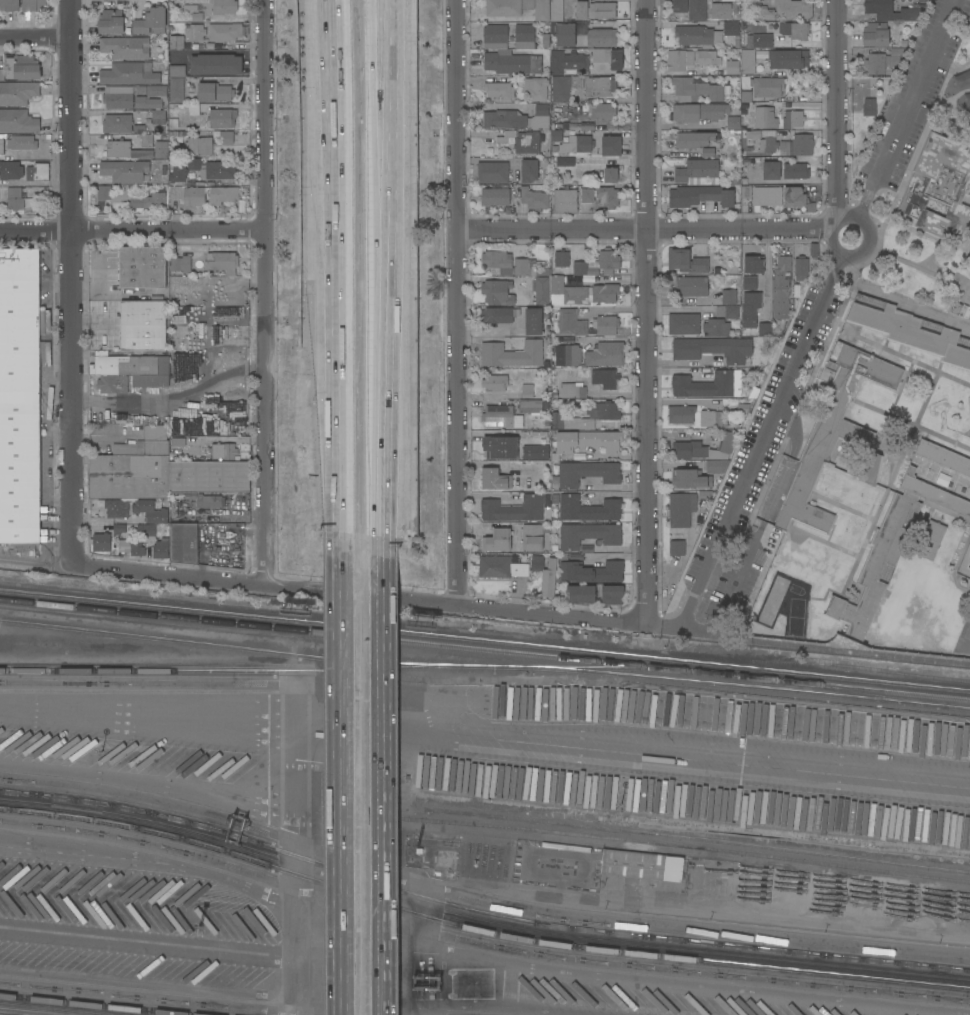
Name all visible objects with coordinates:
building: (528, 4)
building: (9, 5)
building: (32, 5)
building: (223, 6)
building: (503, 8)
building: (593, 9)
building: (689, 9)
building: (794, 9)
building: (542, 10)
building: (720, 10)
building: (891, 10)
building: (763, 13)
building: (196, 17)
building: (111, 21)
building: (151, 21)
building: (562, 24)
building: (731, 28)
building: (796, 30)
building: (194, 31)
building: (226, 31)
building: (524, 32)
building: (495, 33)
building: (875, 34)
building: (694, 35)
road: (35, 37)
building: (601, 37)
building: (767, 39)
building: (176, 41)
building: (124, 46)
building: (609, 57)
building: (707, 57)
building: (788, 58)
building: (679, 59)
building: (893, 59)
building: (566, 61)
building: (747, 61)
building: (512, 63)
building: (875, 63)
building: (216, 64)
building: (26, 67)
building: (732, 67)
building: (177, 70)
building: (128, 74)
building: (960, 79)
building: (767, 86)
building: (536, 88)
building: (176, 89)
building: (600, 89)
building: (500, 90)
building: (695, 90)
building: (18, 92)
building: (214, 92)
building: (129, 94)
building: (745, 97)
building: (966, 100)
building: (147, 102)
road: (332, 105)
road: (342, 105)
building: (869, 106)
road: (378, 107)
road: (382, 108)
road: (907, 109)
building: (602, 111)
building: (699, 111)
road: (837, 113)
building: (154, 115)
building: (222, 117)
building: (765, 117)
building: (517, 118)
building: (793, 118)
building: (18, 121)
building: (733, 122)
building: (117, 123)
building: (555, 133)
building: (226, 137)
building: (694, 139)
building: (146, 141)
building: (767, 141)
building: (22, 142)
building: (527, 142)
building: (576, 144)
building: (797, 145)
building: (2, 146)
building: (198, 146)
building: (611, 146)
building: (161, 149)
building: (124, 150)
building: (711, 152)
building: (565, 161)
building: (756, 163)
building: (211, 169)
building: (10, 170)
building: (124, 170)
building: (529, 170)
building: (771, 170)
building: (795, 171)
building: (38, 172)
building: (178, 172)
building: (492, 172)
building: (698, 172)
building: (611, 174)
park: (916, 176)
building: (939, 185)
building: (104, 192)
building: (746, 192)
building: (222, 194)
building: (188, 195)
building: (587, 195)
building: (701, 195)
building: (767, 195)
building: (495, 196)
building: (608, 196)
building: (15, 198)
building: (534, 198)
building: (797, 198)
building: (149, 200)
building: (565, 200)
road: (646, 229)
road: (132, 231)
road: (861, 255)
building: (561, 258)
building: (222, 261)
building: (686, 261)
building: (180, 263)
building: (509, 263)
building: (598, 264)
building: (751, 264)
building: (142, 267)
building: (802, 267)
road: (73, 281)
building: (691, 286)
building: (781, 287)
building: (540, 289)
building: (497, 291)
road: (265, 292)
building: (581, 292)
building: (729, 296)
road: (457, 303)
building: (960, 309)
building: (728, 311)
road: (648, 312)
building: (498, 314)
building: (749, 317)
building: (533, 321)
building: (571, 322)
building: (683, 323)
building: (143, 324)
building: (605, 324)
building: (716, 327)
building: (764, 329)
building: (911, 332)
building: (714, 349)
building: (512, 353)
building: (567, 354)
building: (606, 354)
building: (130, 365)
building: (605, 377)
building: (150, 380)
road: (340, 381)
building: (495, 382)
building: (113, 384)
building: (708, 384)
road: (380, 385)
building: (527, 390)
building: (572, 390)
building: (19, 395)
road: (121, 401)
building: (530, 406)
building: (681, 414)
building: (605, 415)
building: (500, 416)
building: (710, 418)
building: (832, 432)
building: (535, 435)
building: (588, 440)
building: (500, 446)
building: (216, 447)
building: (705, 448)
building: (536, 452)
road: (752, 454)
building: (943, 456)
building: (713, 466)
building: (159, 471)
building: (867, 471)
building: (587, 473)
building: (495, 479)
building: (690, 479)
building: (210, 500)
building: (116, 508)
building: (587, 508)
building: (513, 509)
building: (681, 509)
building: (150, 511)
building: (119, 528)
building: (146, 530)
building: (588, 534)
building: (533, 536)
building: (930, 539)
building: (497, 540)
building: (101, 541)
building: (183, 542)
building: (131, 546)
building: (677, 547)
building: (160, 551)
building: (888, 551)
building: (501, 566)
building: (593, 571)
building: (545, 574)
building: (581, 593)
building: (612, 594)
road: (362, 595)
railway: (485, 640)
railway: (192, 642)
railway: (485, 650)
railway: (836, 665)
railway: (485, 667)
railway: (629, 668)
railway: (868, 694)
road: (485, 736)
road: (341, 783)
road: (377, 784)
railway: (651, 837)
railway: (695, 838)
railway: (667, 844)
building: (641, 865)
petroleum well: (780, 875)
petroleum well: (767, 882)
petroleum well: (844, 885)
petroleum well: (859, 889)
petroleum well: (792, 891)
petroleum well: (878, 896)
railway: (478, 912)
railway: (478, 930)
railway: (95, 1005)
railway: (8, 1014)

